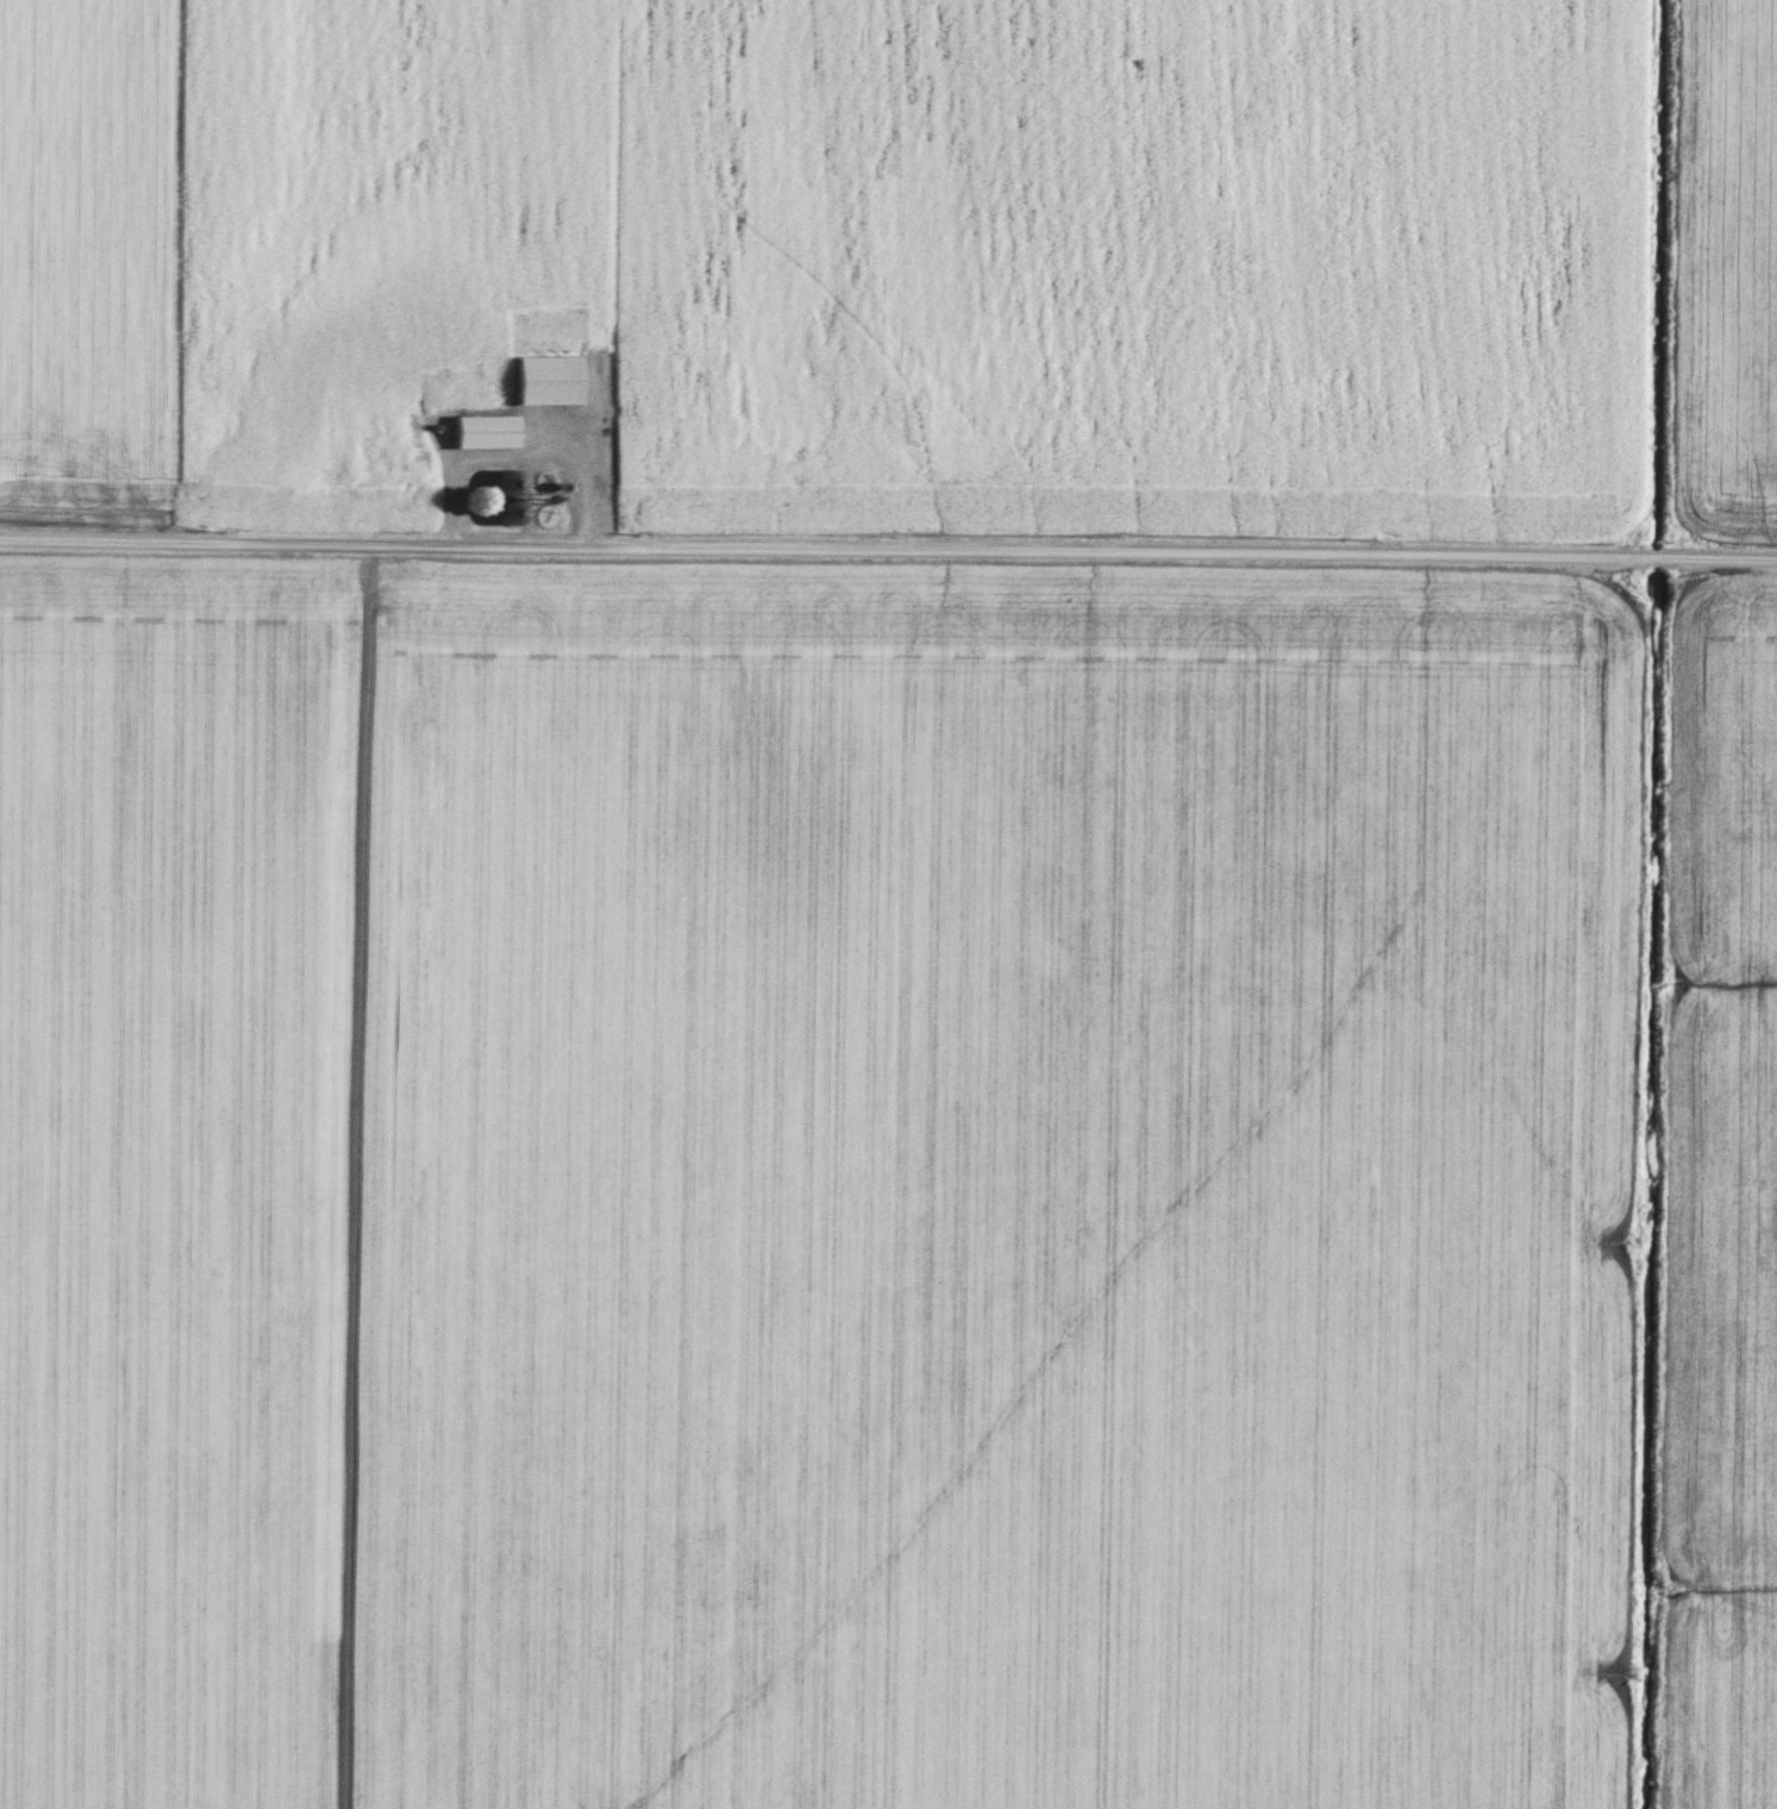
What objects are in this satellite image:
building: (552, 376)
building: (489, 428)
building: (514, 480)
road: (888, 547)

